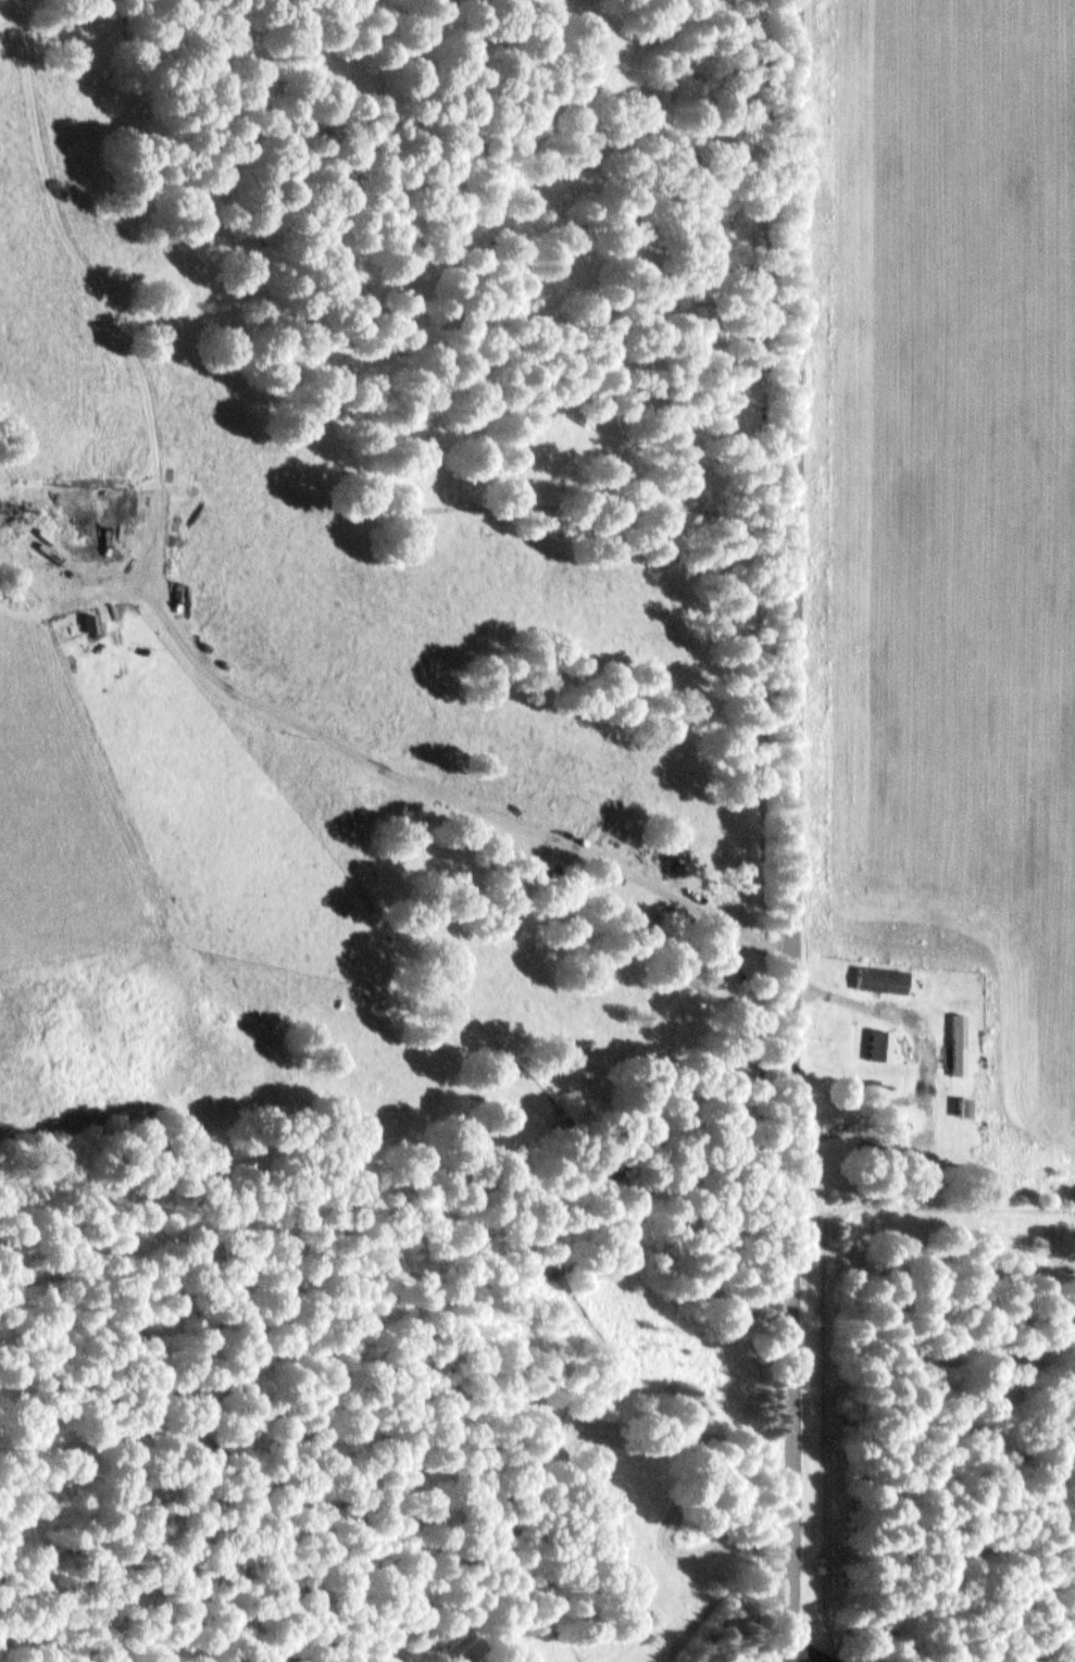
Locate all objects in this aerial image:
building: (88, 623)
road: (396, 775)
road: (808, 830)
building: (958, 1045)
building: (879, 1047)
building: (965, 1108)

